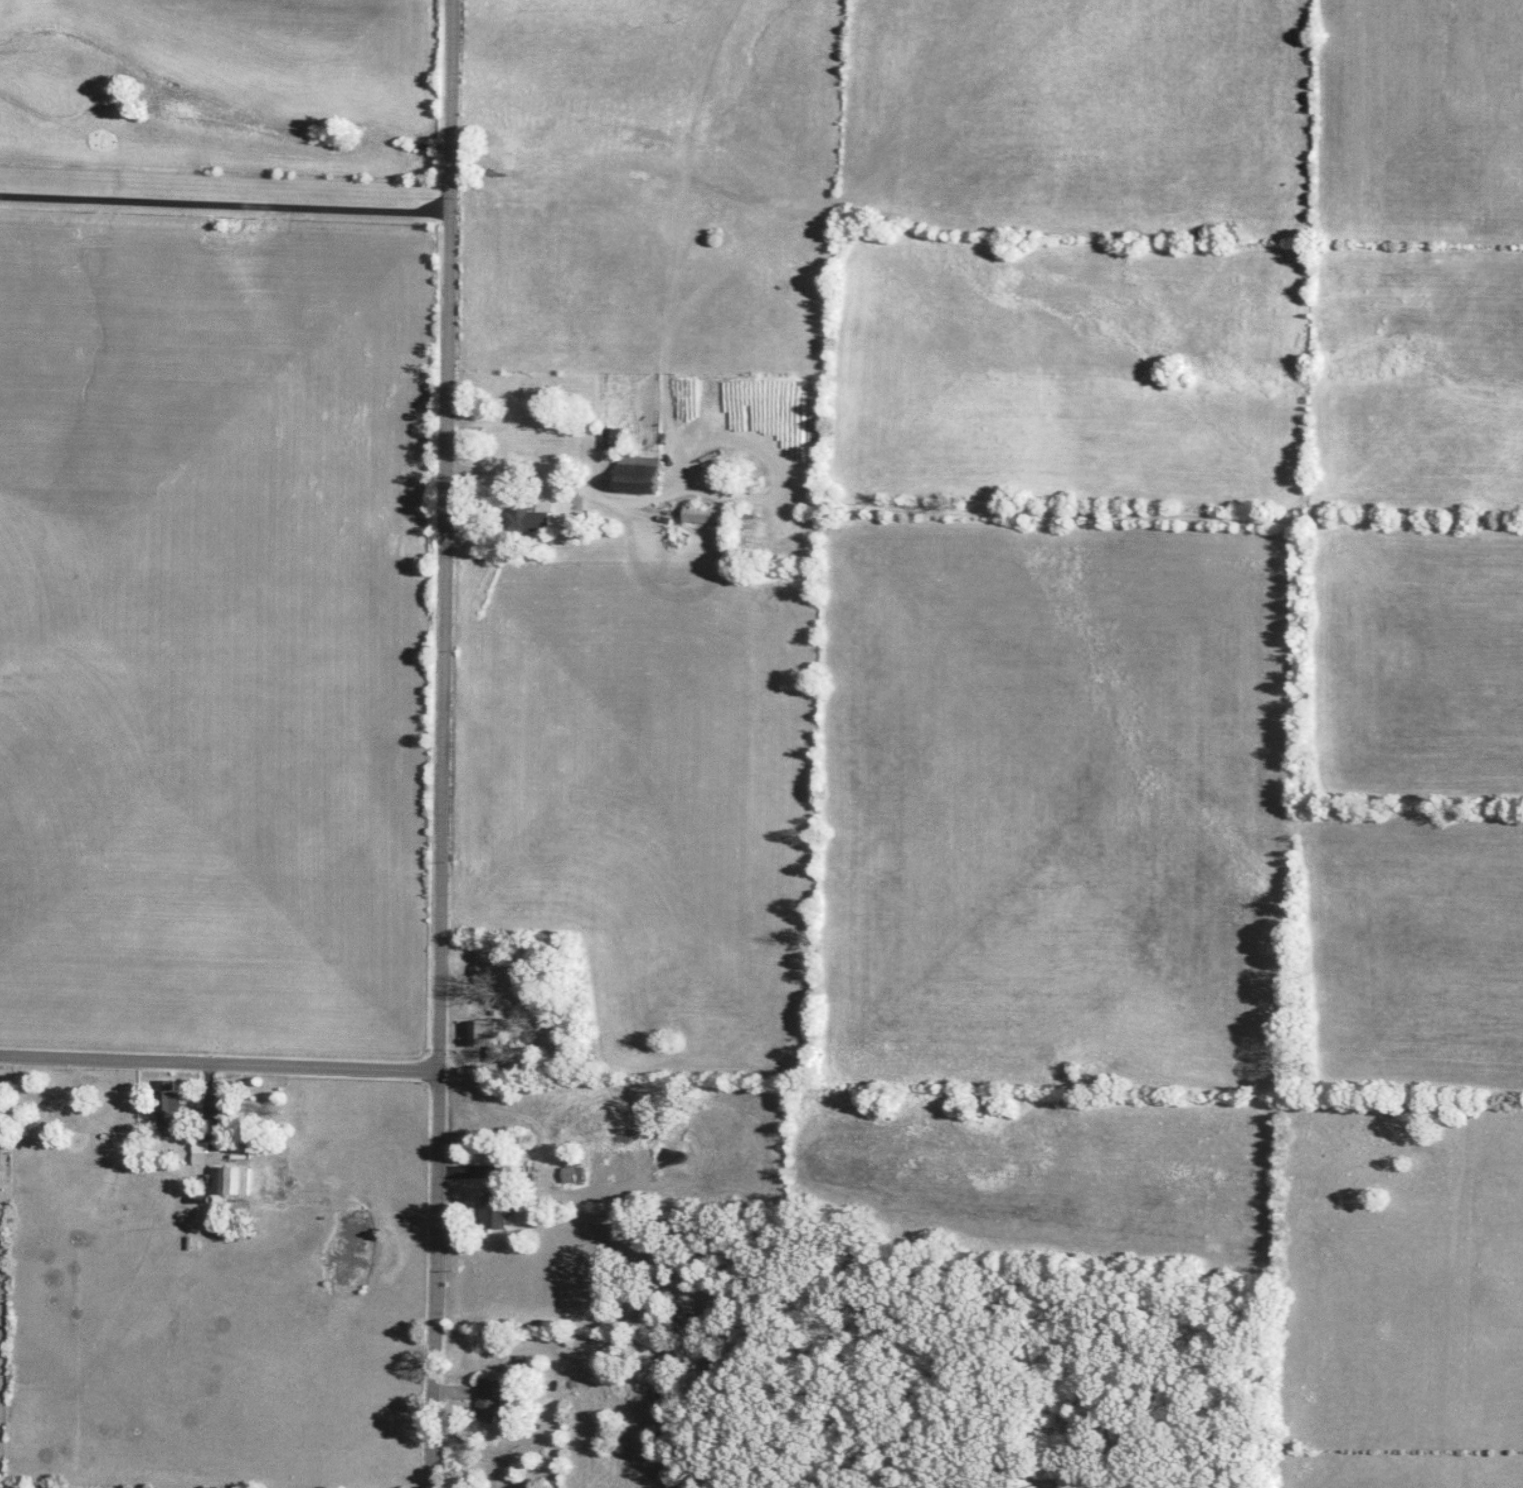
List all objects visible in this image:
road: (224, 204)
building: (612, 438)
road: (505, 468)
building: (653, 471)
building: (708, 514)
building: (528, 517)
road: (440, 743)
building: (486, 1035)
road: (218, 1062)
building: (171, 1104)
building: (202, 1153)
building: (574, 1169)
building: (232, 1180)
building: (496, 1205)
building: (491, 1400)

